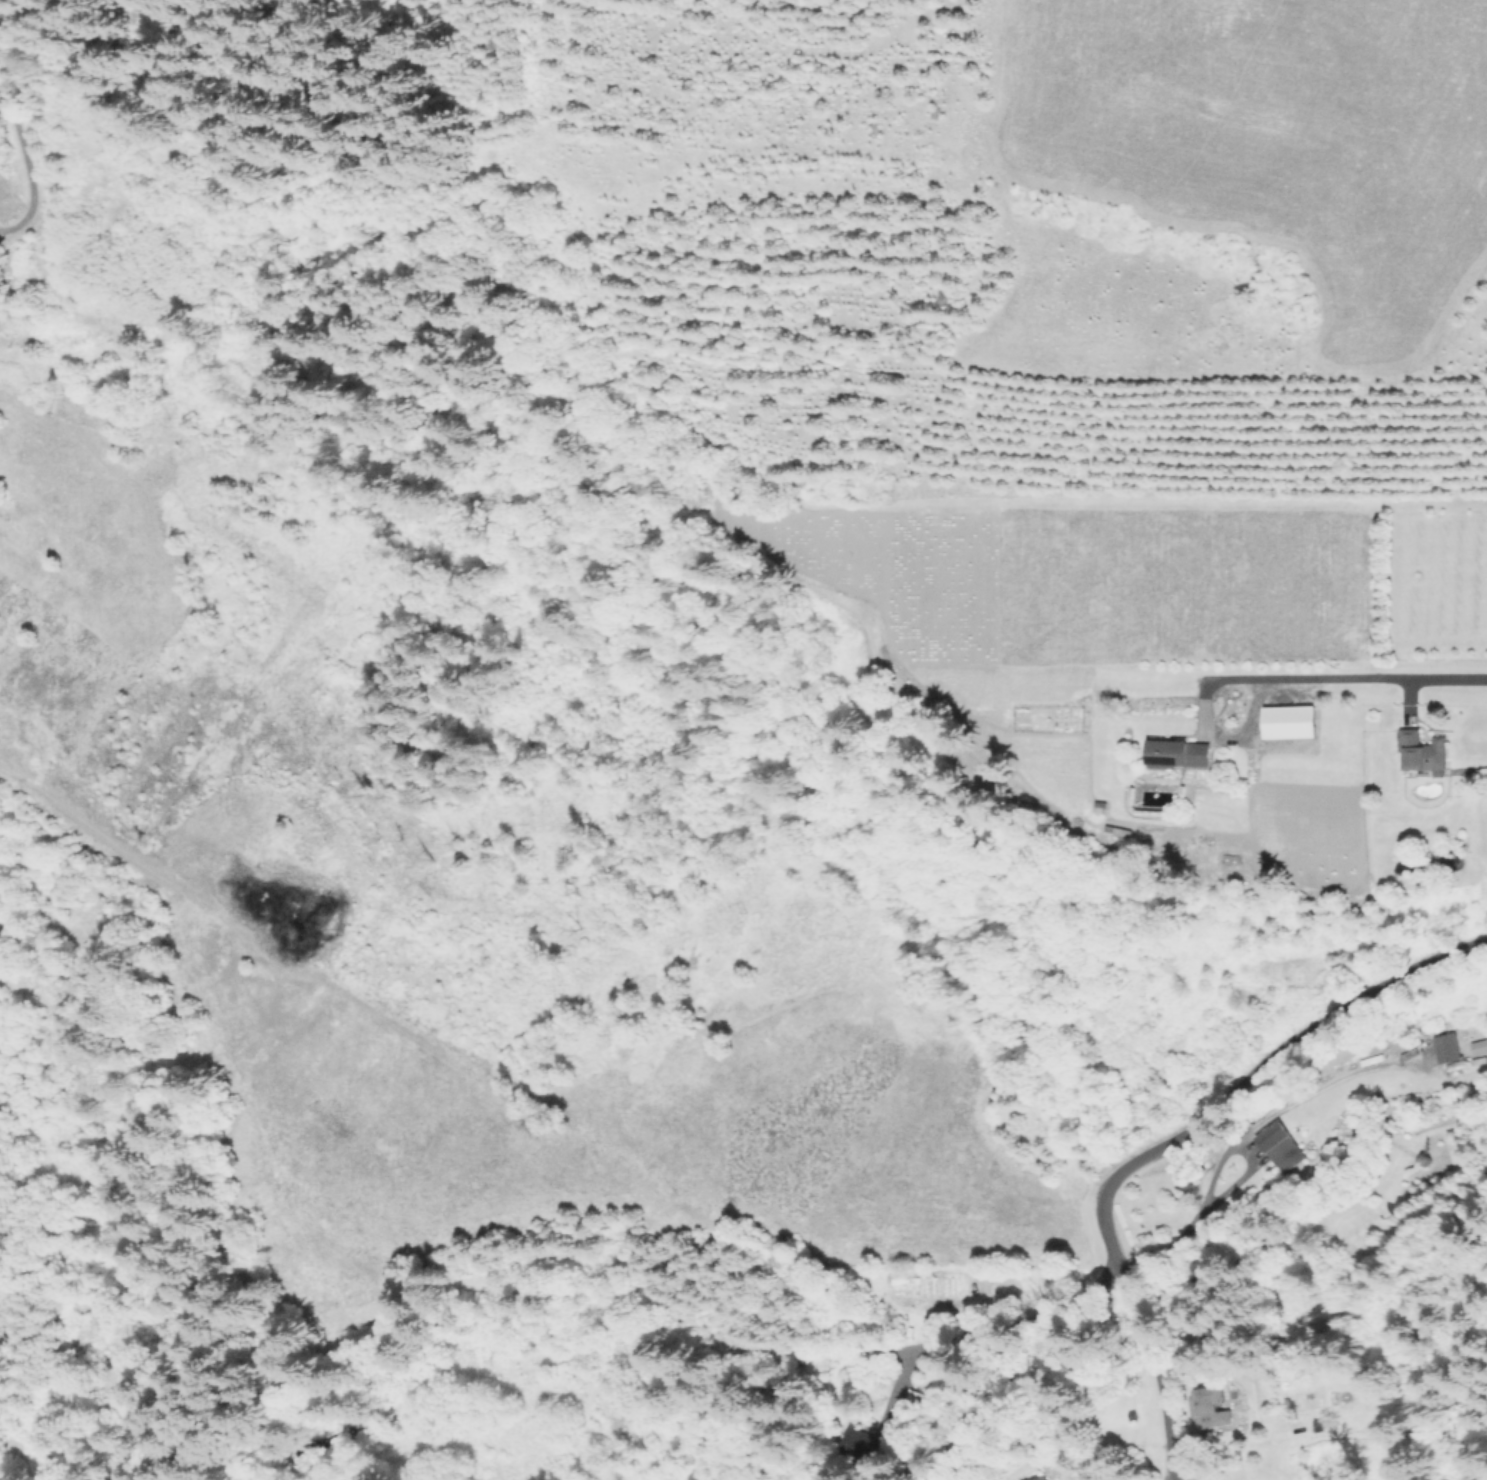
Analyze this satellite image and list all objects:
road: (1342, 678)
building: (1285, 725)
building: (1179, 752)
building: (1422, 765)
building: (1479, 1048)
building: (1448, 1050)
building: (1372, 1059)
road: (1251, 1074)
road: (1240, 1137)
building: (1281, 1147)
building: (1424, 1159)
road: (1044, 1315)
road: (904, 1366)
road: (1161, 1373)
building: (916, 1399)
building: (1207, 1406)
building: (1321, 1424)
building: (863, 1445)
road: (1172, 1476)
building: (1041, 1478)

